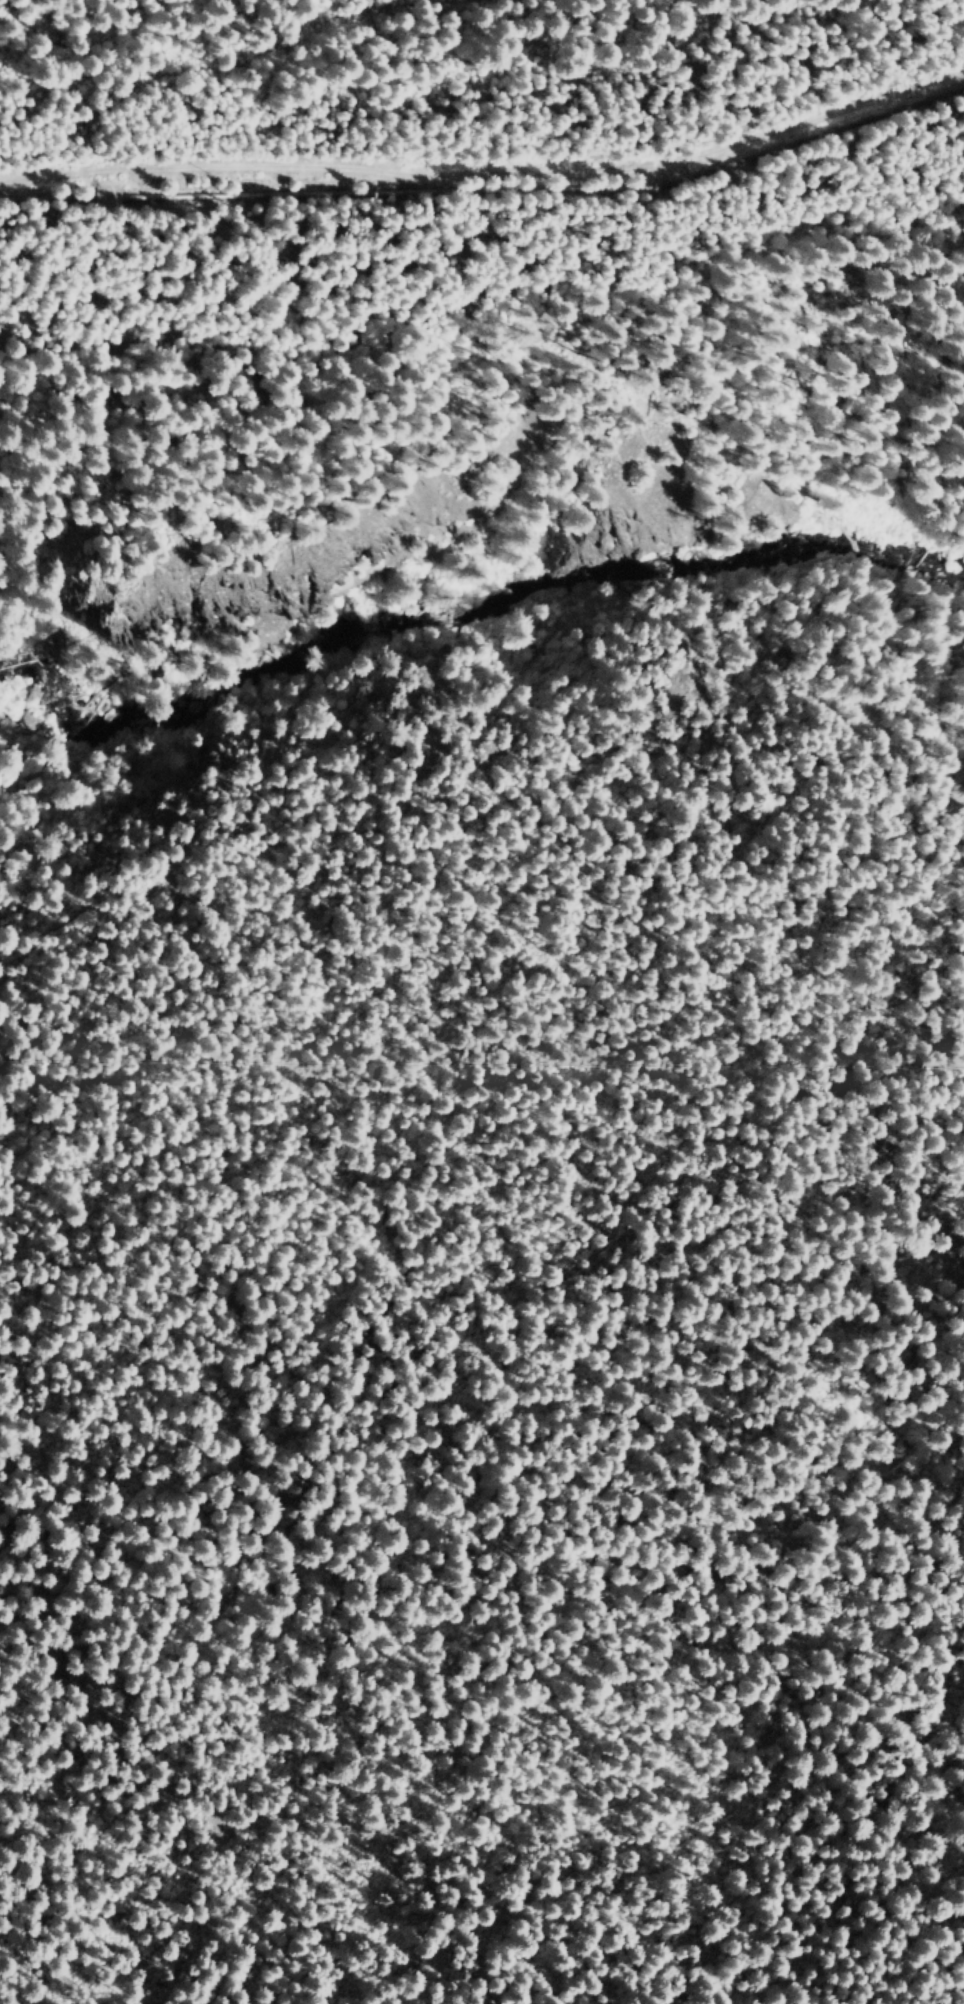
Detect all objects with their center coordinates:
road: (488, 173)
road: (102, 192)
river: (477, 600)
road: (480, 773)

